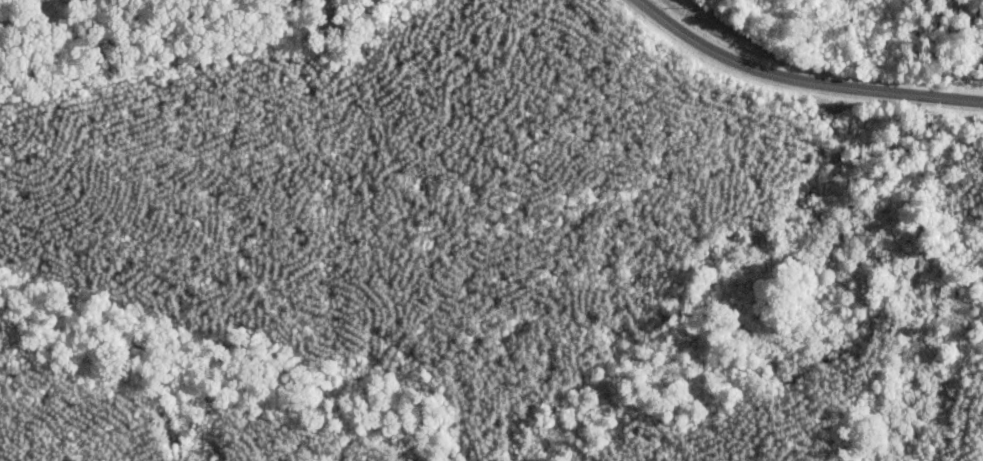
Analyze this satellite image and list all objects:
road: (800, 84)

